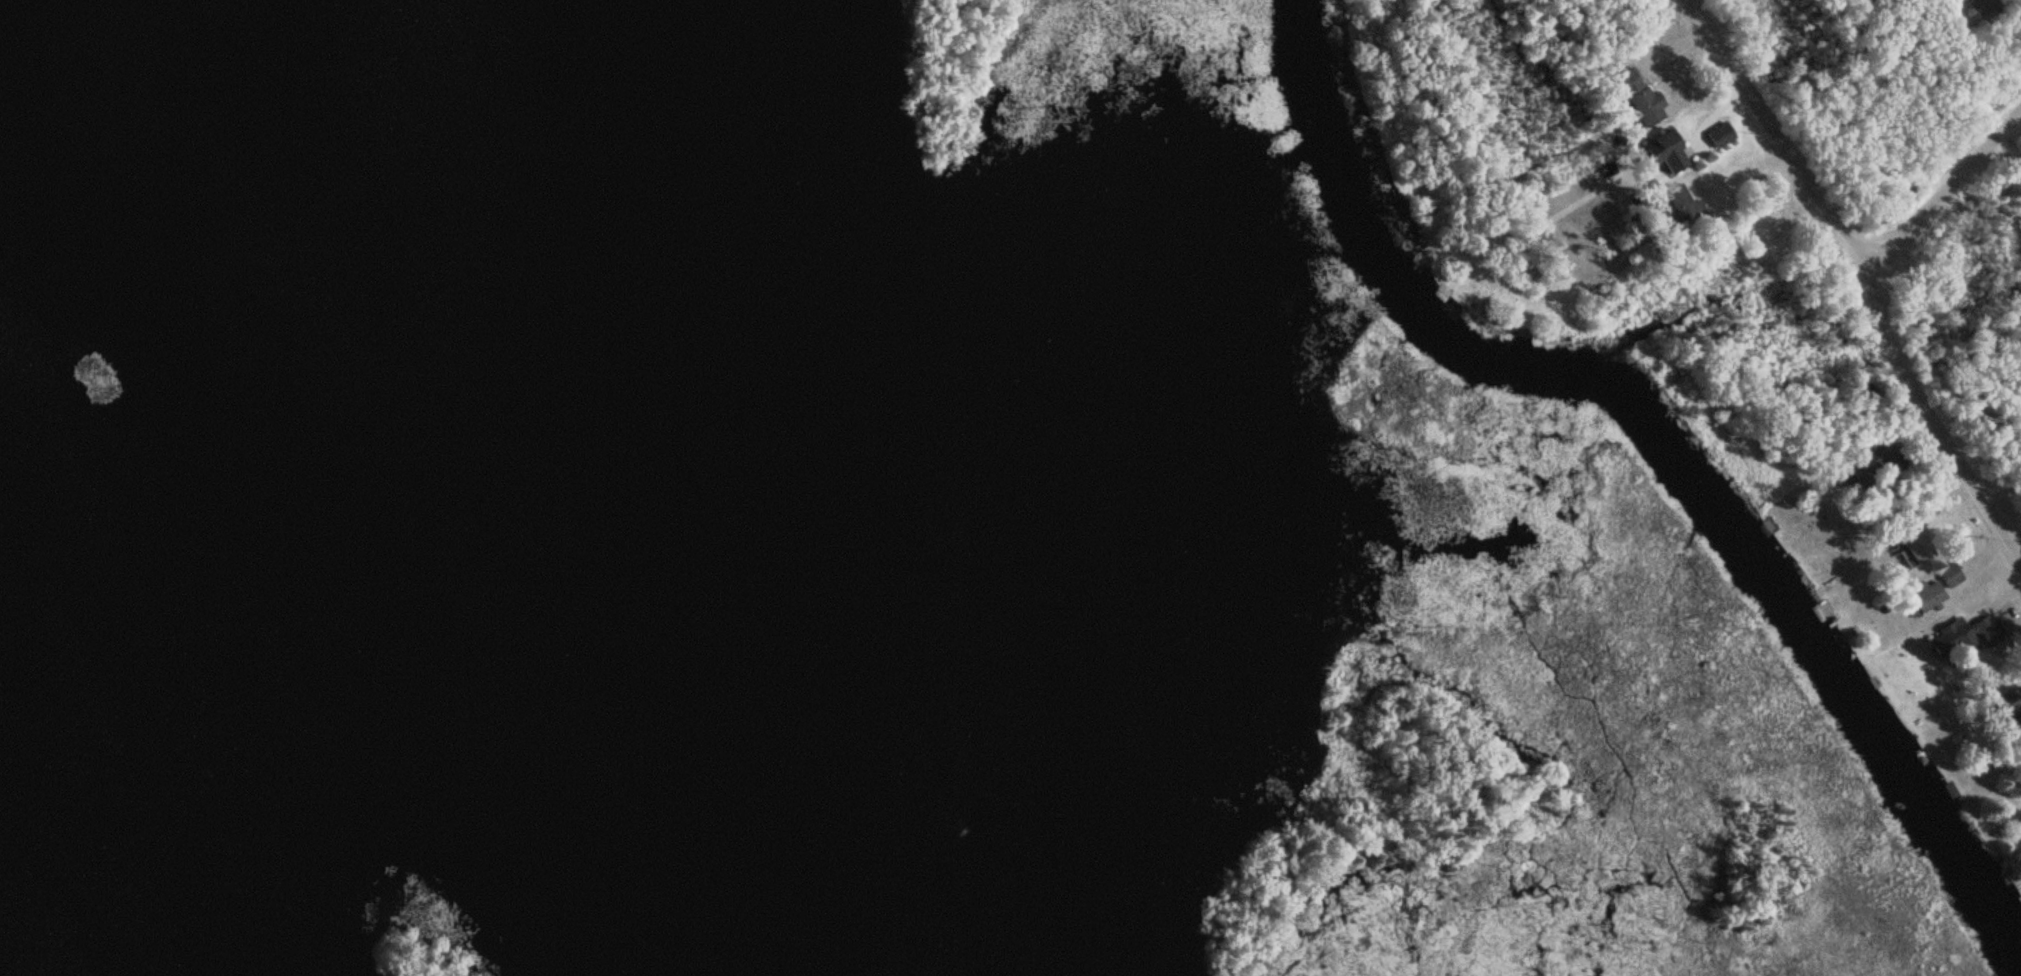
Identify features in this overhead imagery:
building: (1982, 6)
building: (1644, 102)
building: (1668, 149)
road: (1942, 192)
road: (1865, 270)
building: (1918, 549)
building: (1951, 576)
building: (1928, 597)
building: (1960, 636)

